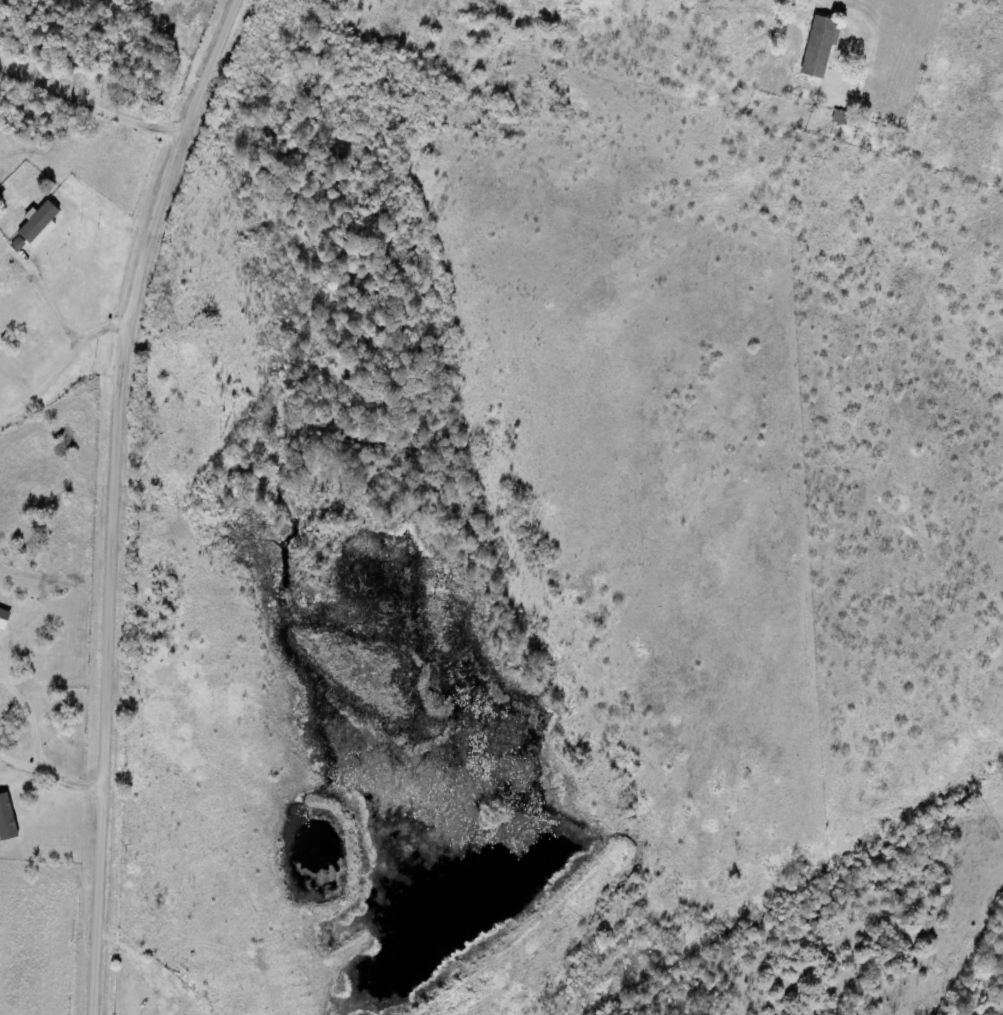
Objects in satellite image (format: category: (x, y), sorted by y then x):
road: (936, 26)
building: (822, 46)
building: (841, 117)
building: (40, 224)
building: (19, 245)
road: (120, 497)
building: (4, 618)

